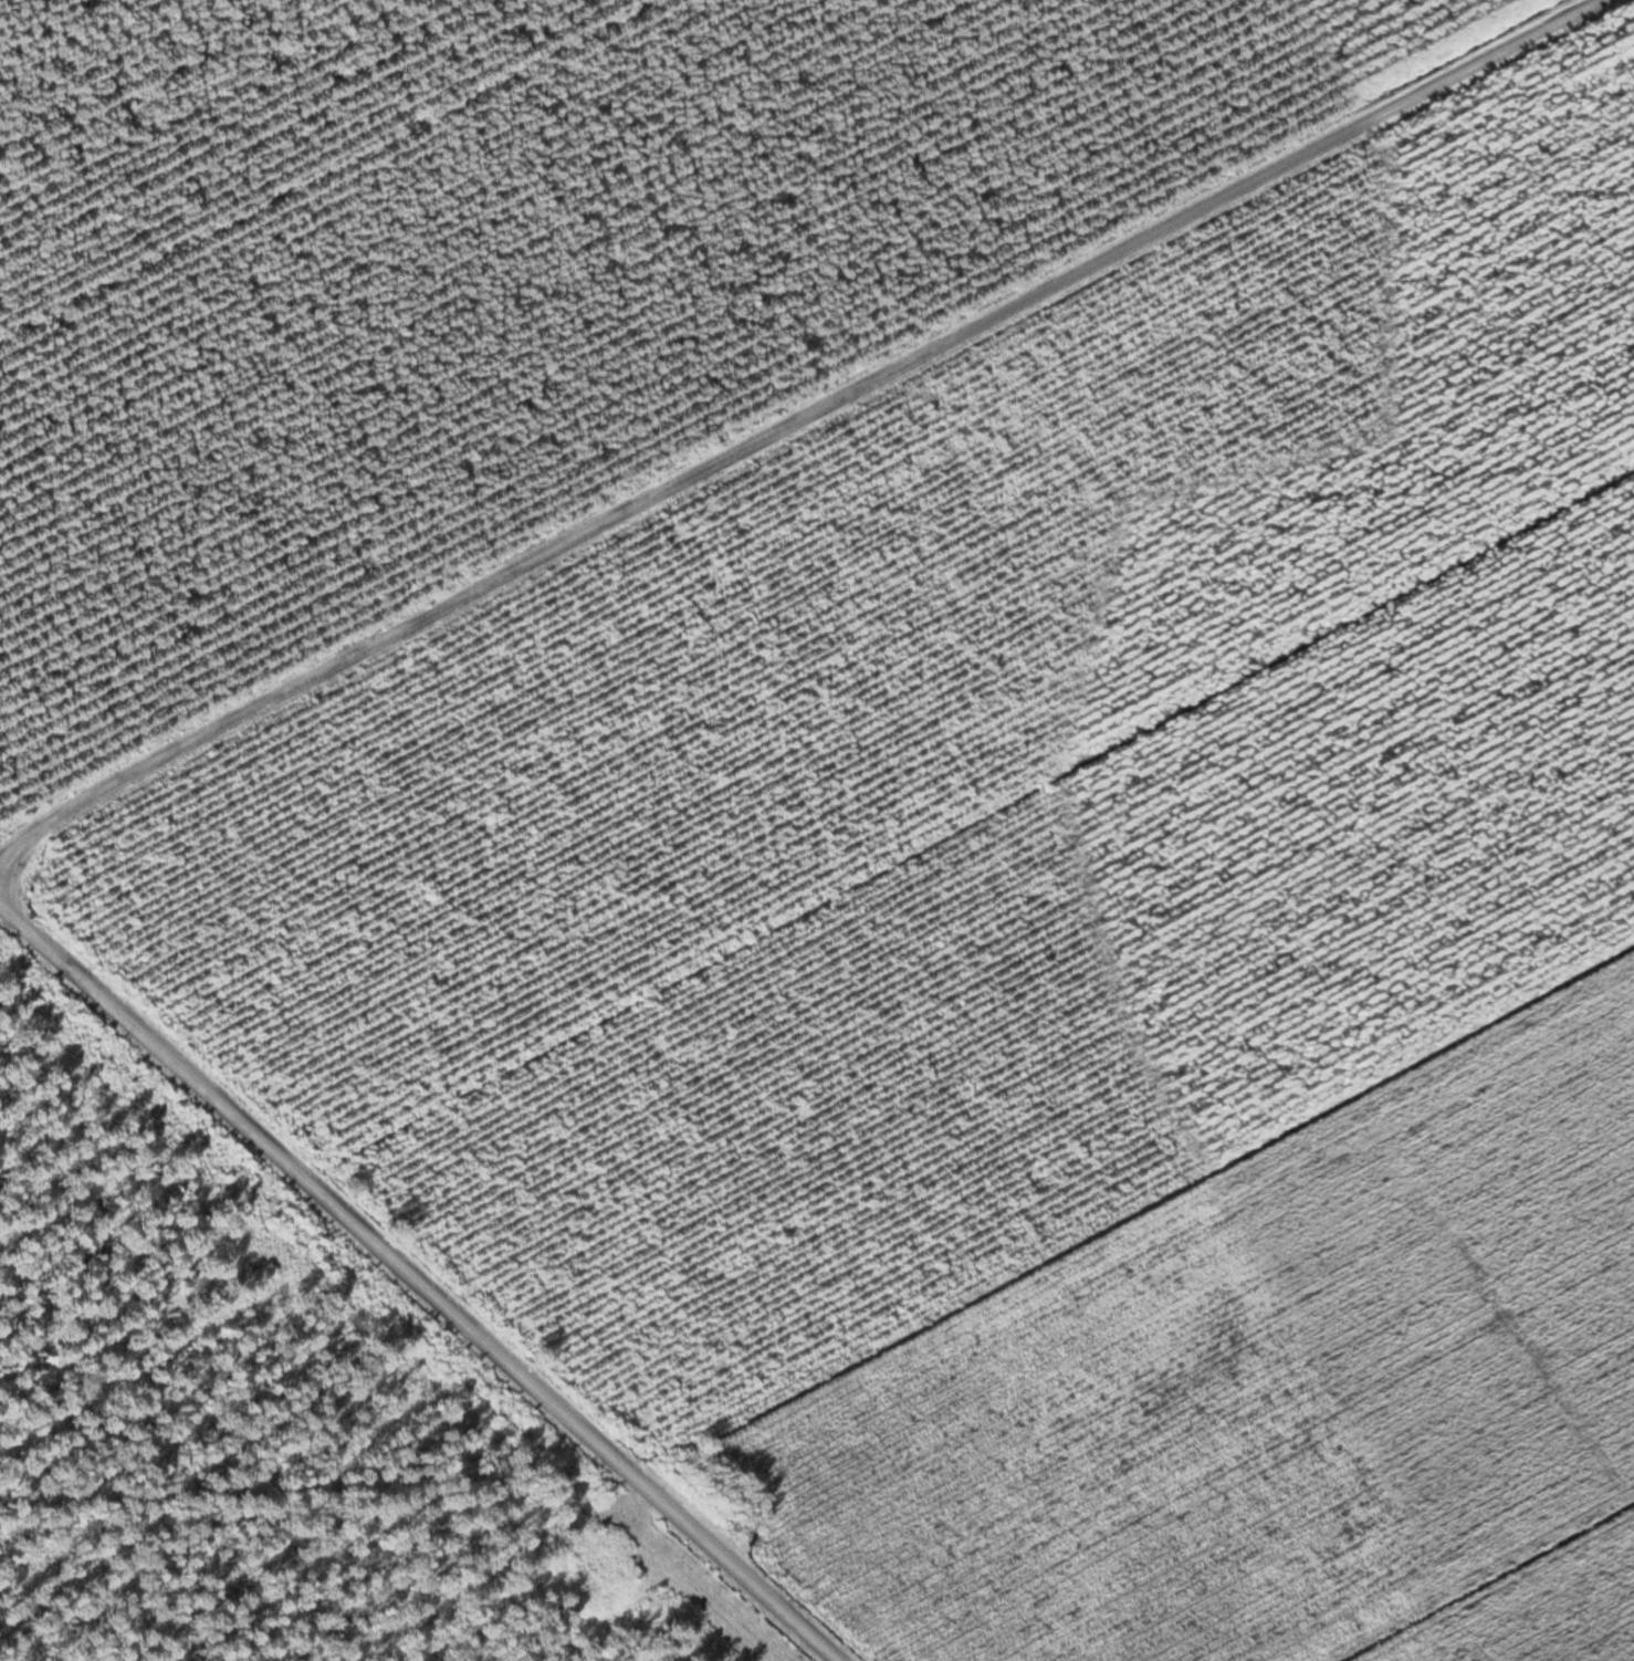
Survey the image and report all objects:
road: (794, 427)
road: (421, 1279)

